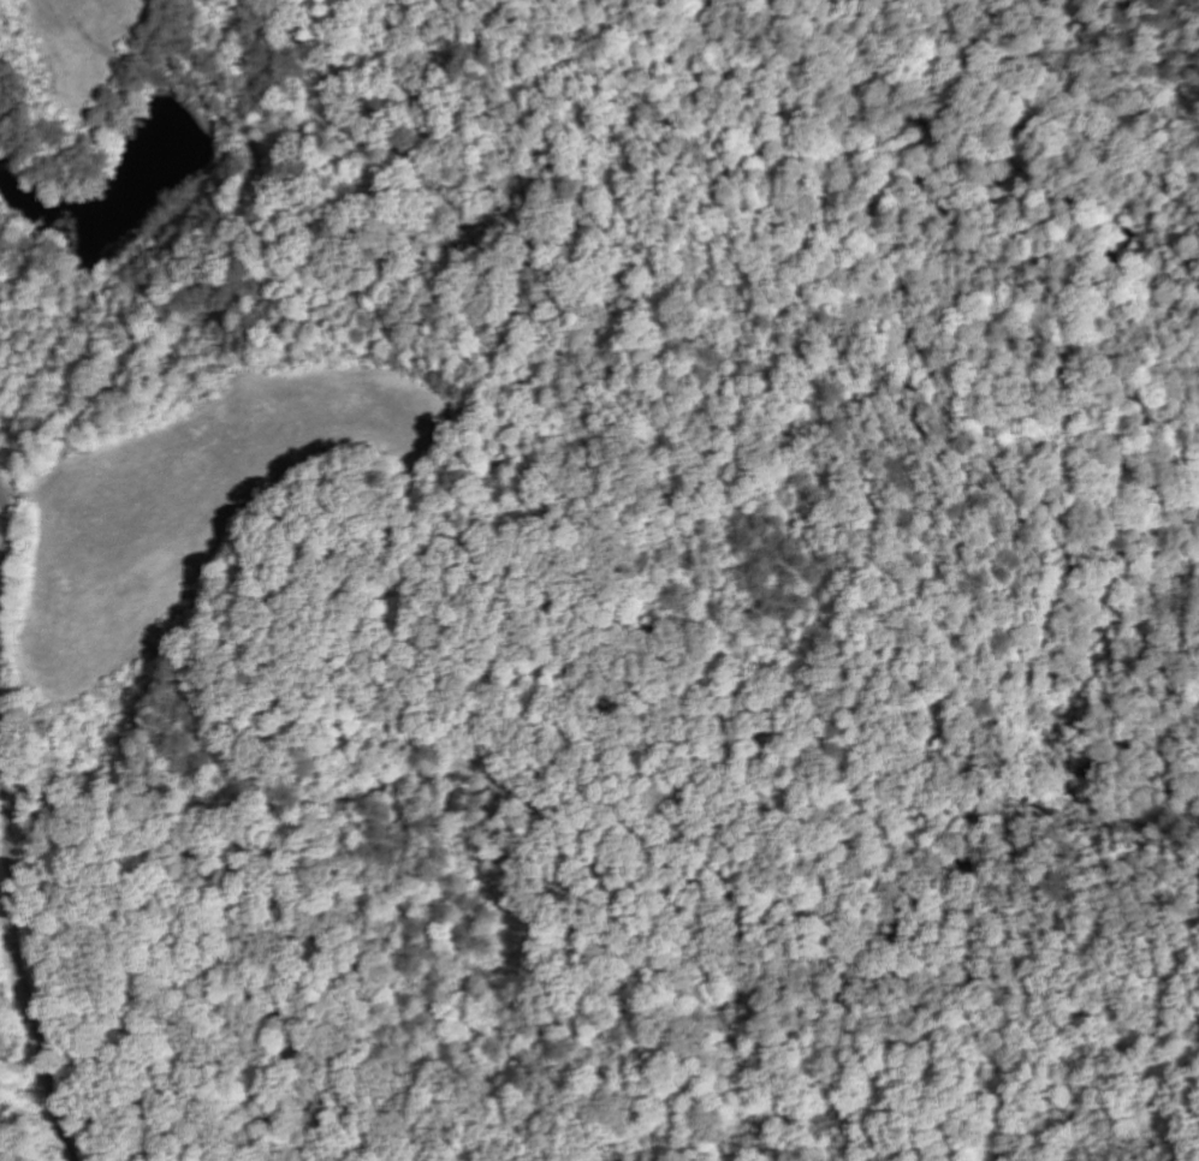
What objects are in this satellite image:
road: (4, 525)
road: (22, 966)

